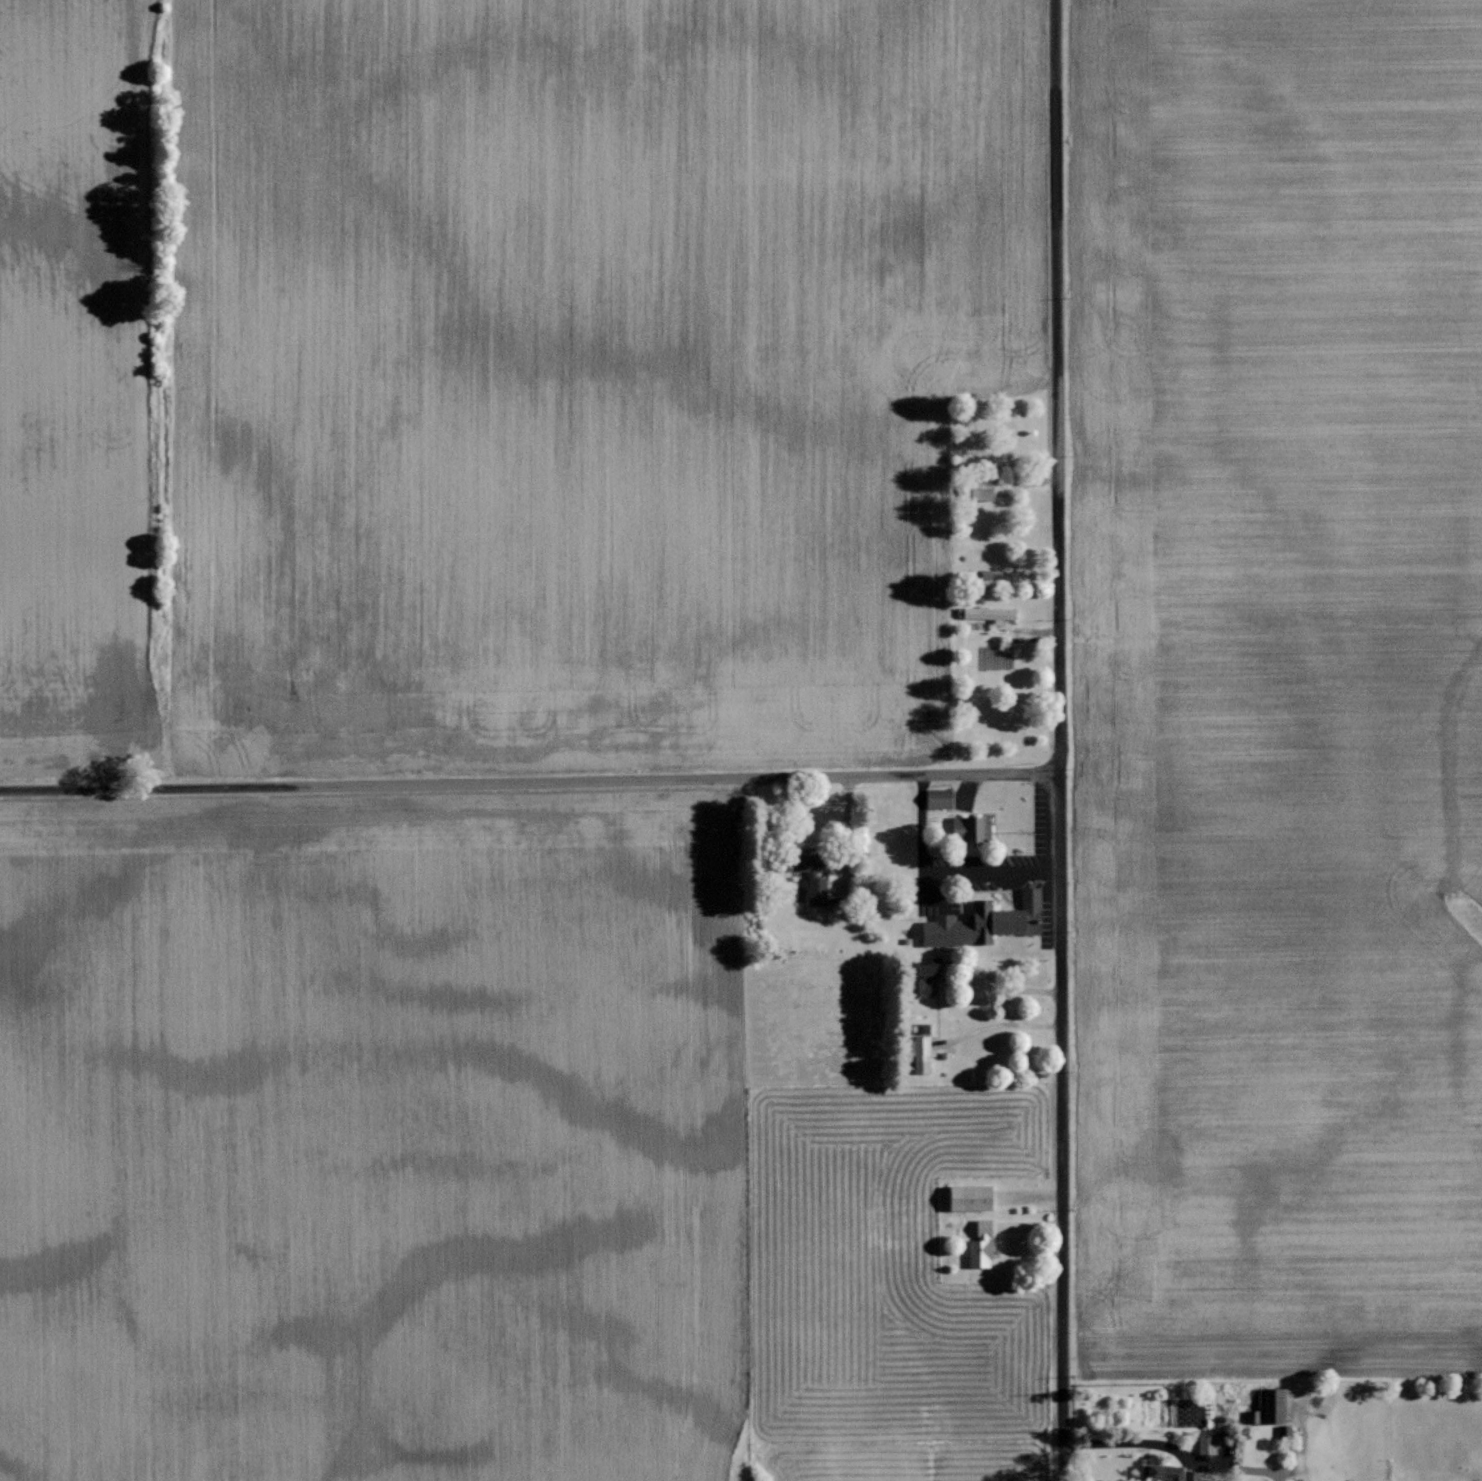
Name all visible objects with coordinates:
building: (979, 488)
building: (988, 613)
road: (1058, 740)
road: (529, 779)
building: (936, 798)
building: (969, 828)
building: (809, 881)
building: (982, 922)
building: (920, 979)
building: (918, 1053)
building: (968, 1197)
building: (978, 1244)
building: (1271, 1407)
building: (1204, 1443)
building: (1165, 1472)

